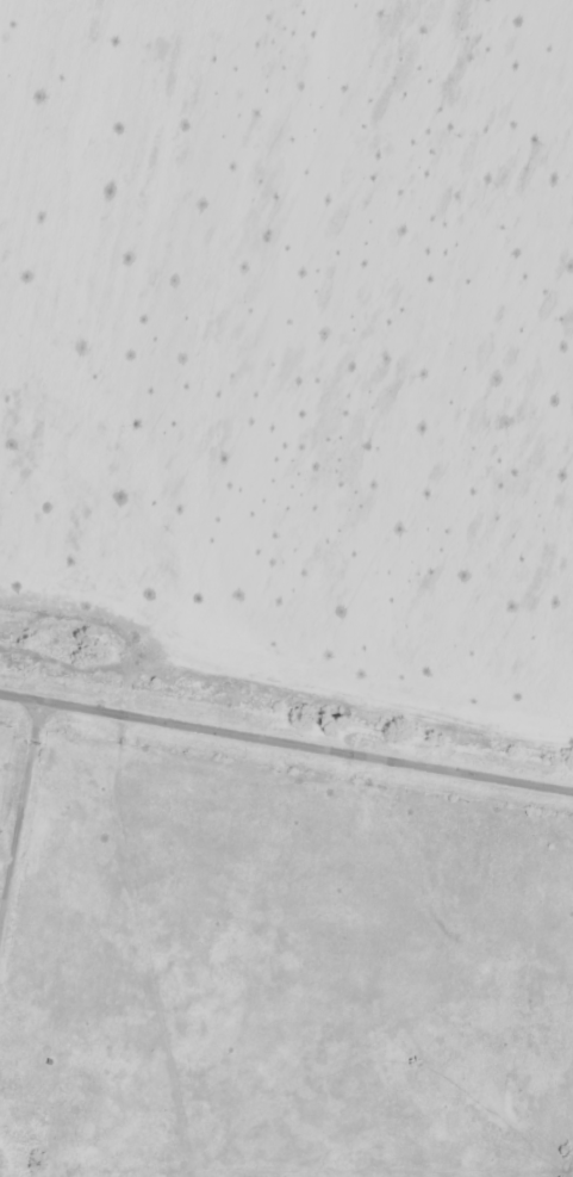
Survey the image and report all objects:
road: (286, 742)
road: (20, 814)
building: (14, 1140)

